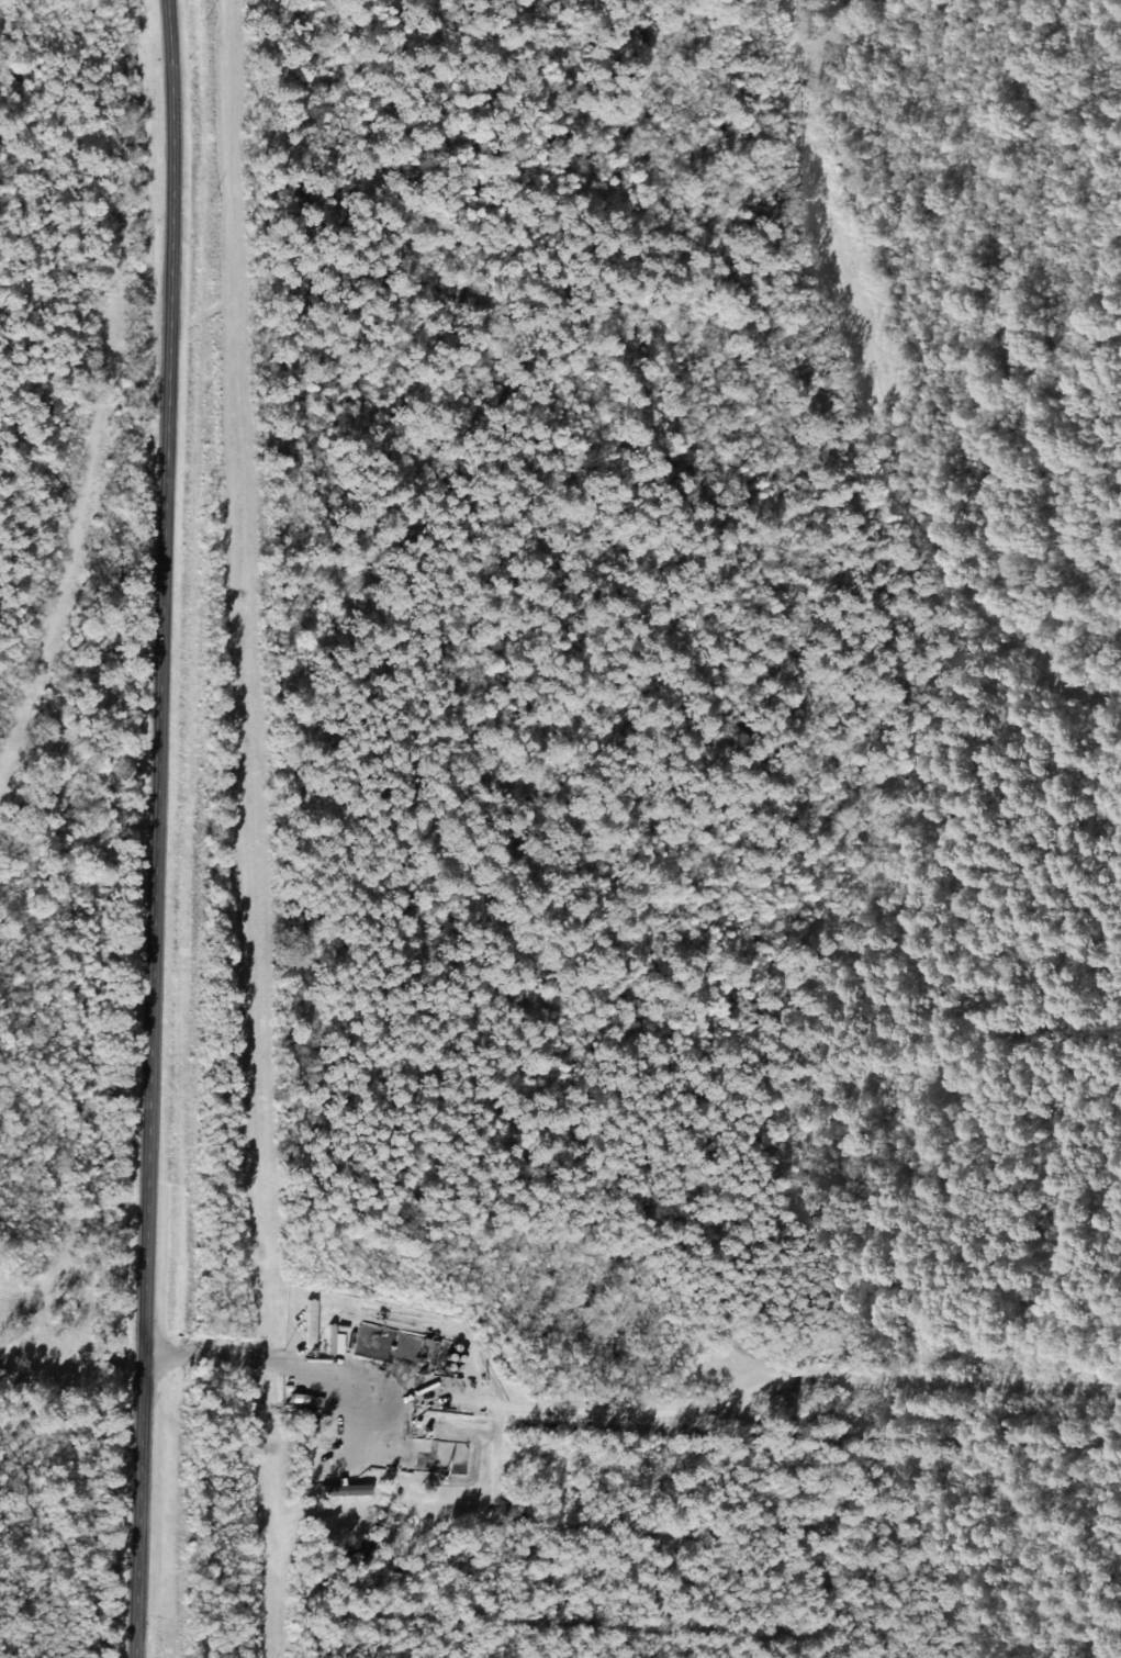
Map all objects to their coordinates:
road: (173, 164)
airport runway: (829, 200)
road: (69, 538)
road: (155, 994)
building: (317, 1312)
road: (265, 1353)
building: (320, 1450)

